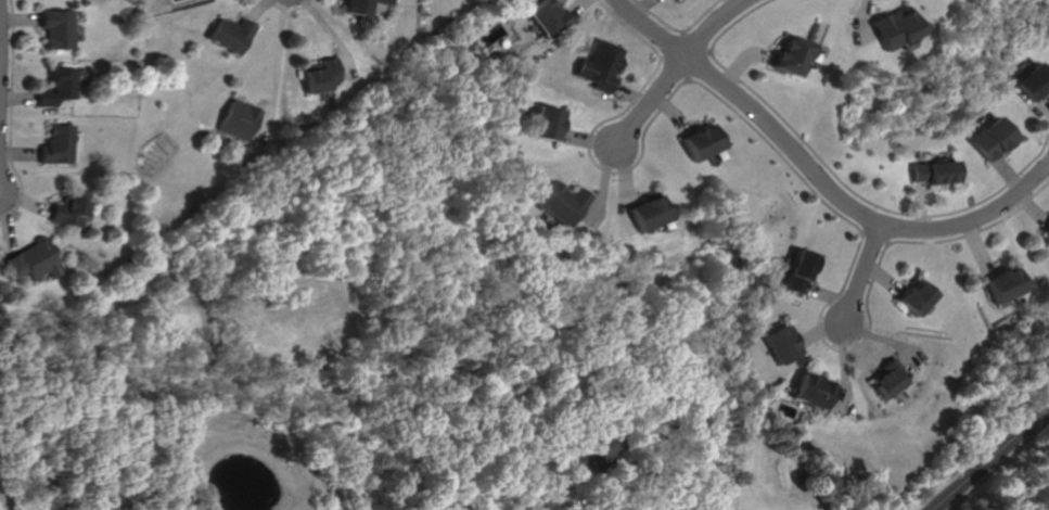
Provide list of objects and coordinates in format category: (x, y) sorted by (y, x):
building: (361, 5)
road: (577, 7)
road: (642, 7)
road: (257, 9)
road: (289, 9)
road: (17, 17)
building: (549, 18)
road: (858, 23)
road: (711, 25)
building: (53, 28)
building: (893, 28)
road: (679, 30)
building: (231, 35)
road: (336, 36)
road: (692, 42)
road: (674, 47)
building: (788, 54)
road: (741, 61)
road: (698, 62)
building: (603, 64)
road: (274, 66)
road: (676, 67)
building: (320, 74)
building: (1031, 81)
building: (53, 88)
road: (16, 97)
road: (651, 99)
road: (654, 101)
road: (1041, 104)
road: (9, 115)
building: (236, 119)
building: (546, 124)
road: (587, 138)
building: (993, 139)
building: (698, 142)
building: (57, 144)
road: (17, 152)
road: (1008, 171)
building: (935, 173)
road: (624, 174)
road: (817, 178)
road: (836, 179)
road: (803, 182)
road: (602, 183)
road: (25, 200)
building: (565, 202)
road: (920, 205)
road: (1034, 206)
building: (72, 207)
building: (648, 212)
road: (5, 228)
building: (1047, 229)
road: (875, 235)
road: (980, 250)
building: (37, 258)
building: (801, 268)
road: (863, 271)
road: (886, 277)
building: (1009, 284)
road: (828, 295)
building: (921, 296)
road: (822, 331)
road: (892, 340)
building: (782, 345)
road: (847, 367)
building: (894, 377)
building: (815, 388)
building: (597, 451)
road: (994, 458)
park: (1016, 480)
road: (7, 501)
road: (590, 502)

